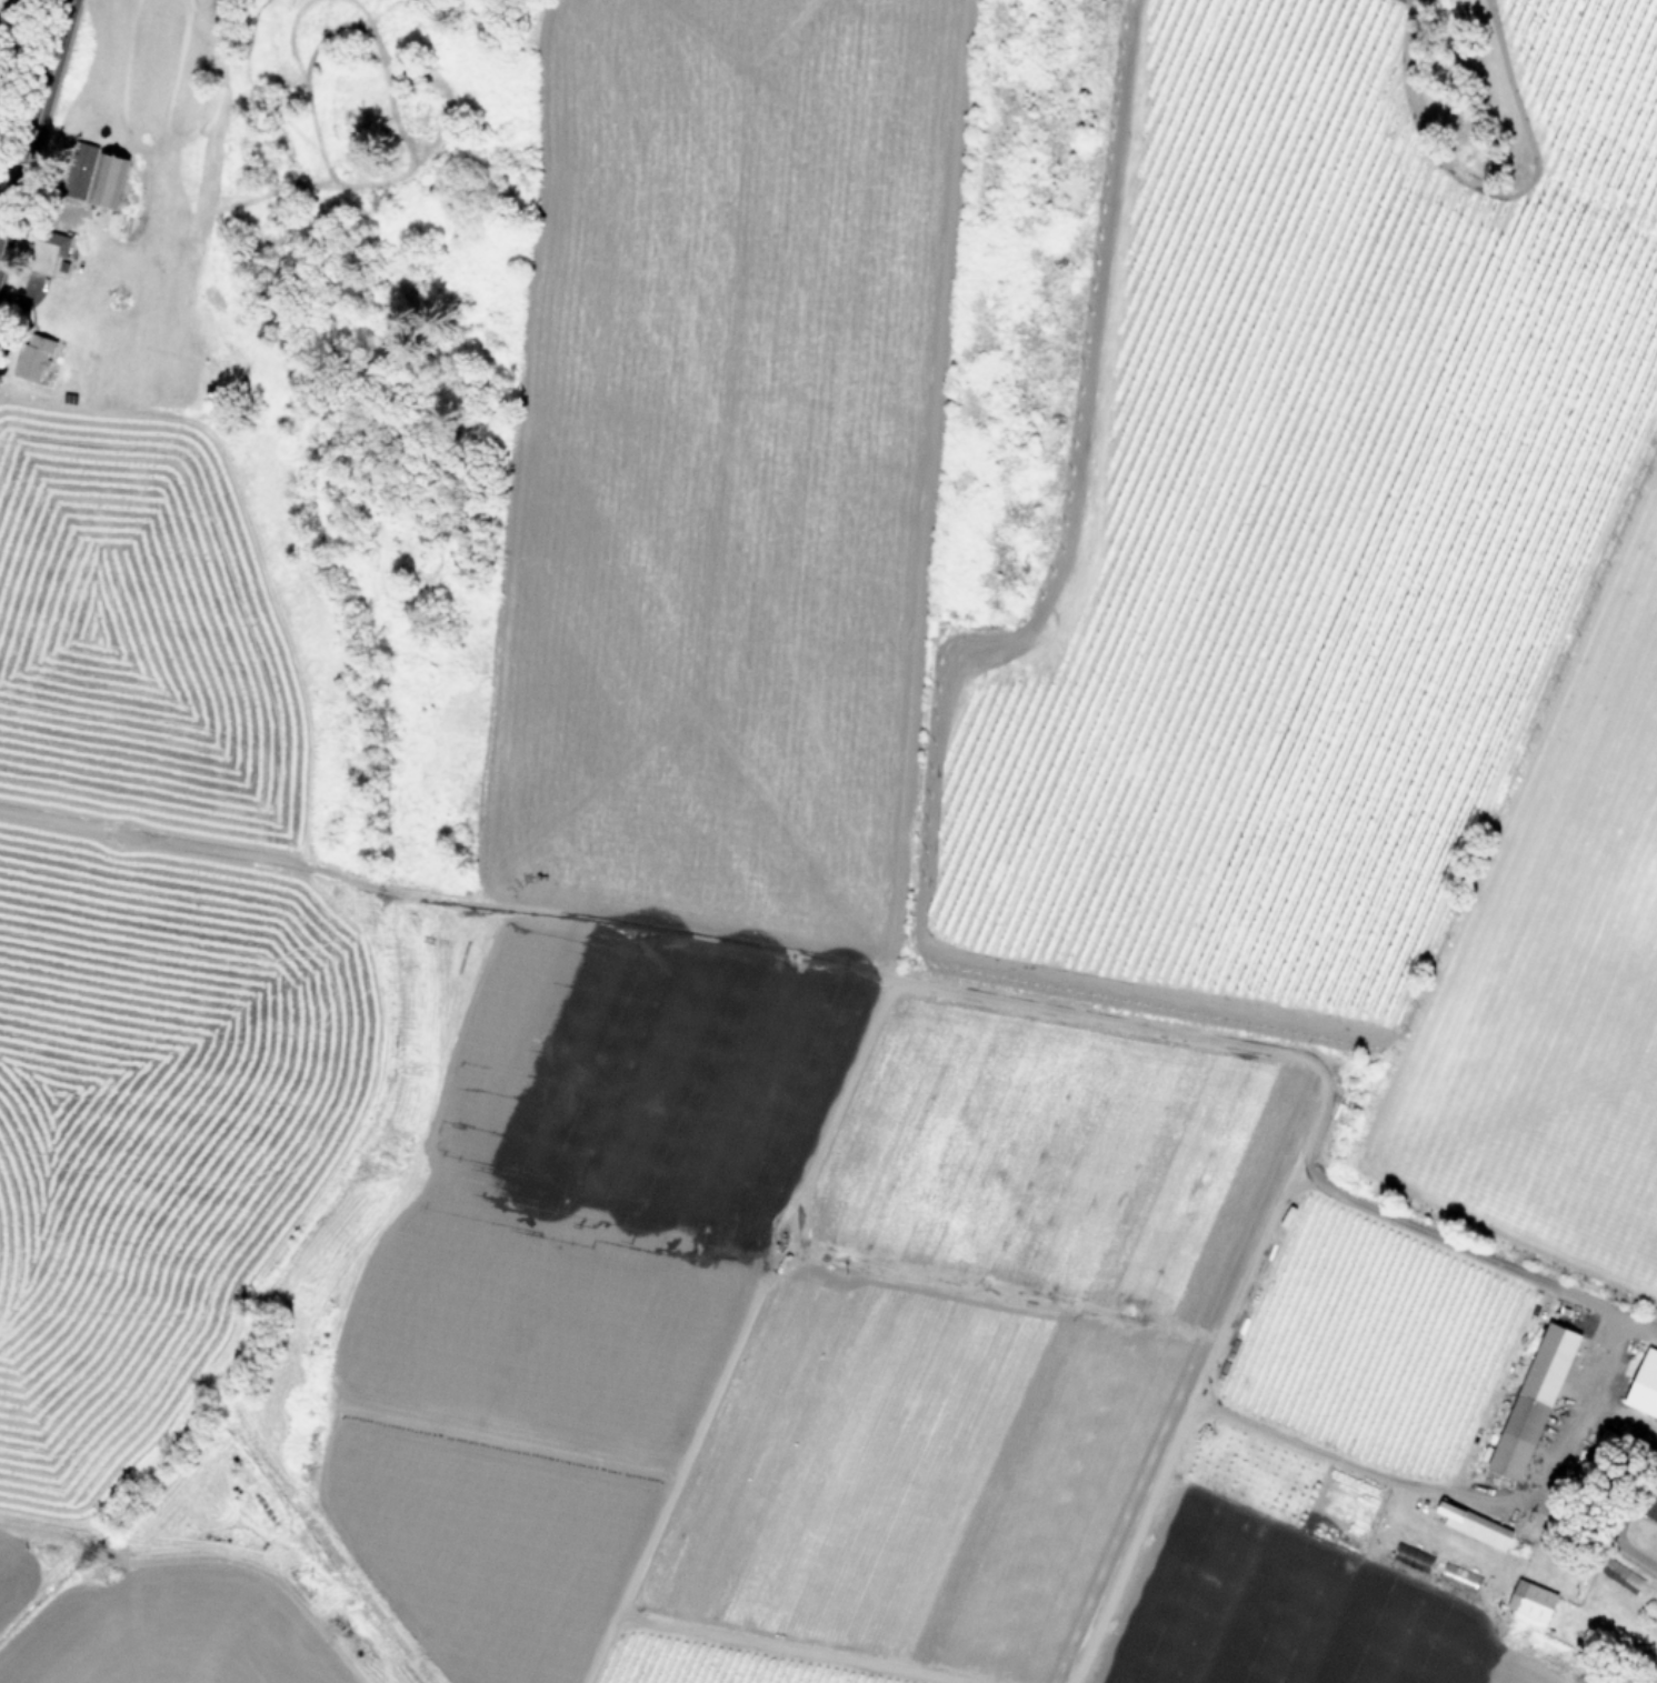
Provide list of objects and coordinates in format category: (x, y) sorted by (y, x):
crop: (0, 1)
road: (34, 124)
building: (114, 181)
building: (50, 252)
building: (36, 355)
crop: (877, 925)
road: (1611, 1311)
building: (1536, 1403)
building: (220, 1434)
building: (1653, 1510)
building: (1479, 1530)
road: (1609, 1537)
building: (1535, 1603)

